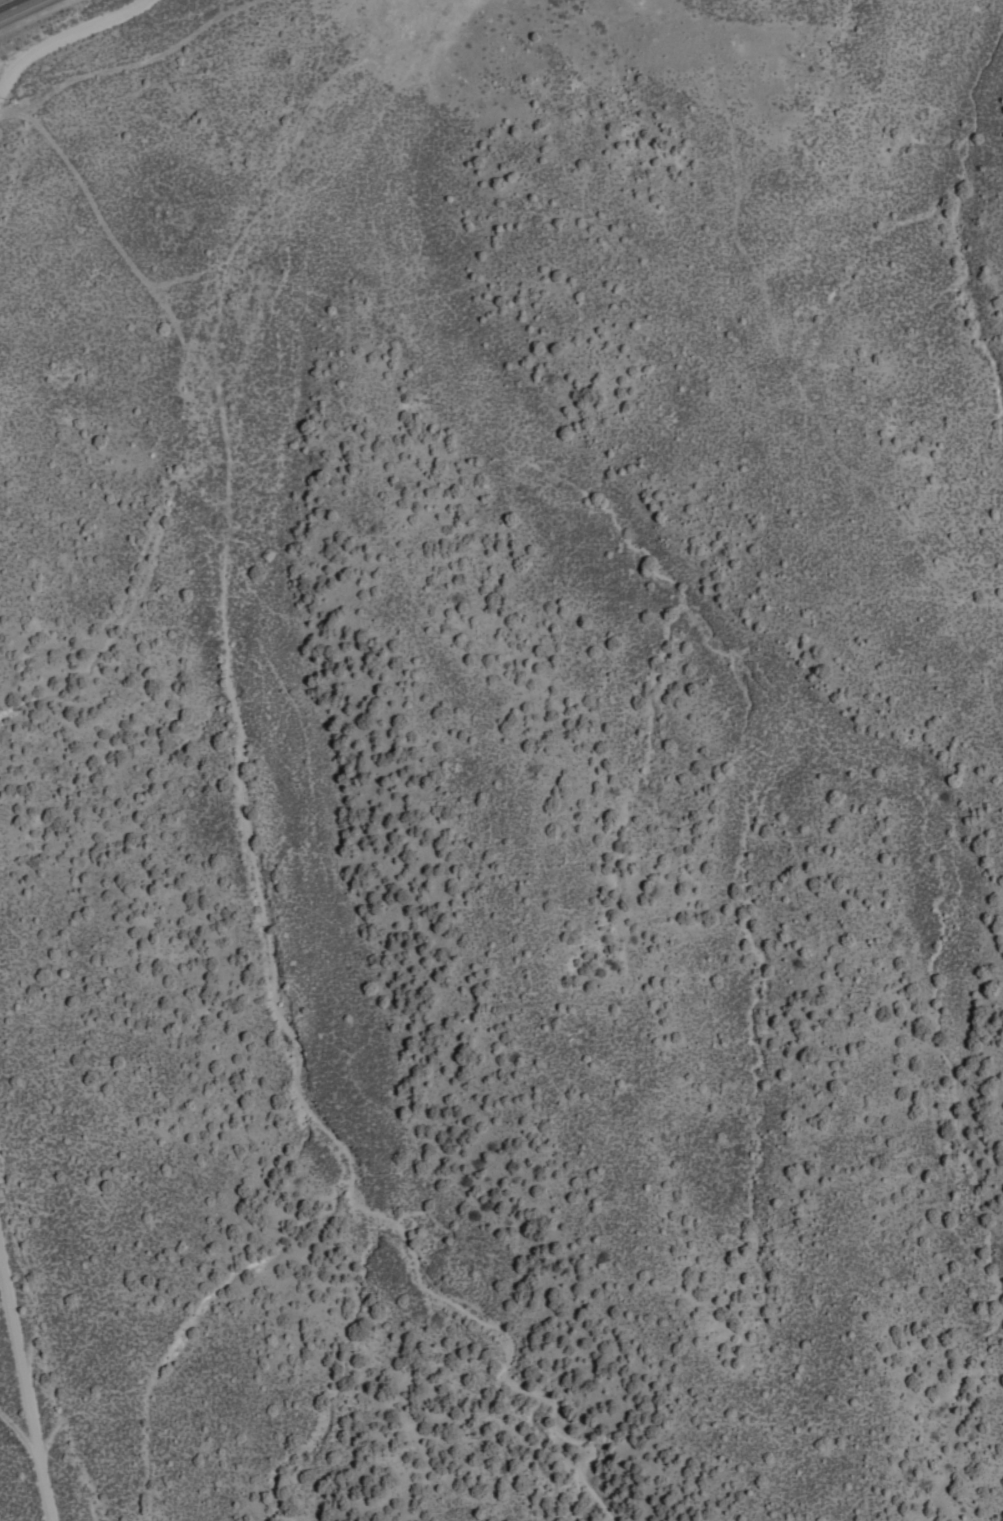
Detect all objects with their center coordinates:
road: (12, 5)
road: (67, 34)
road: (25, 1381)

